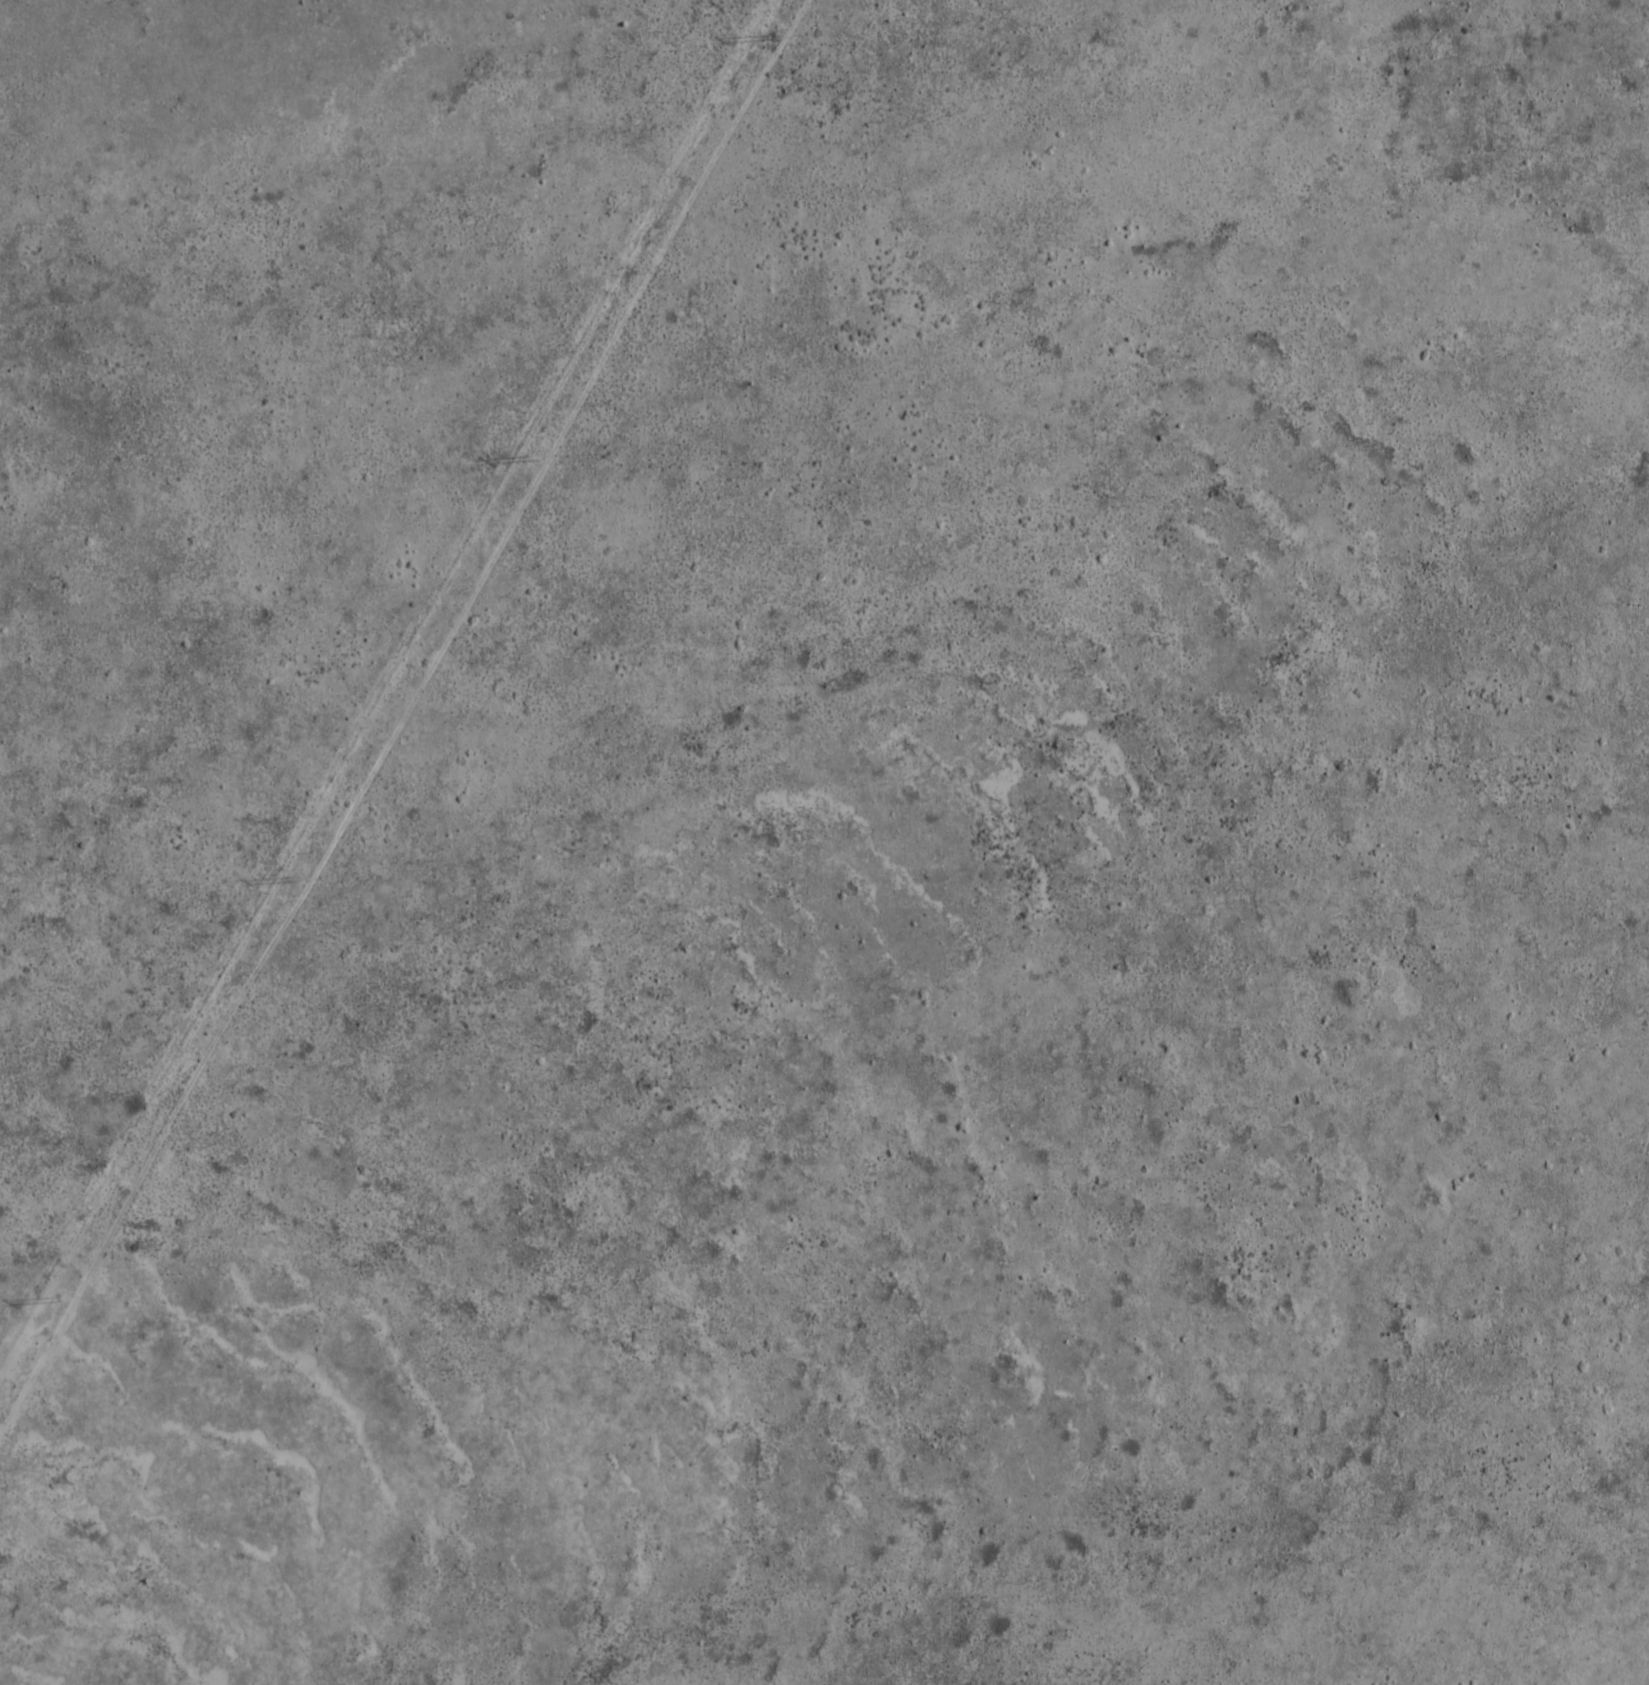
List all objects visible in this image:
road: (406, 713)

